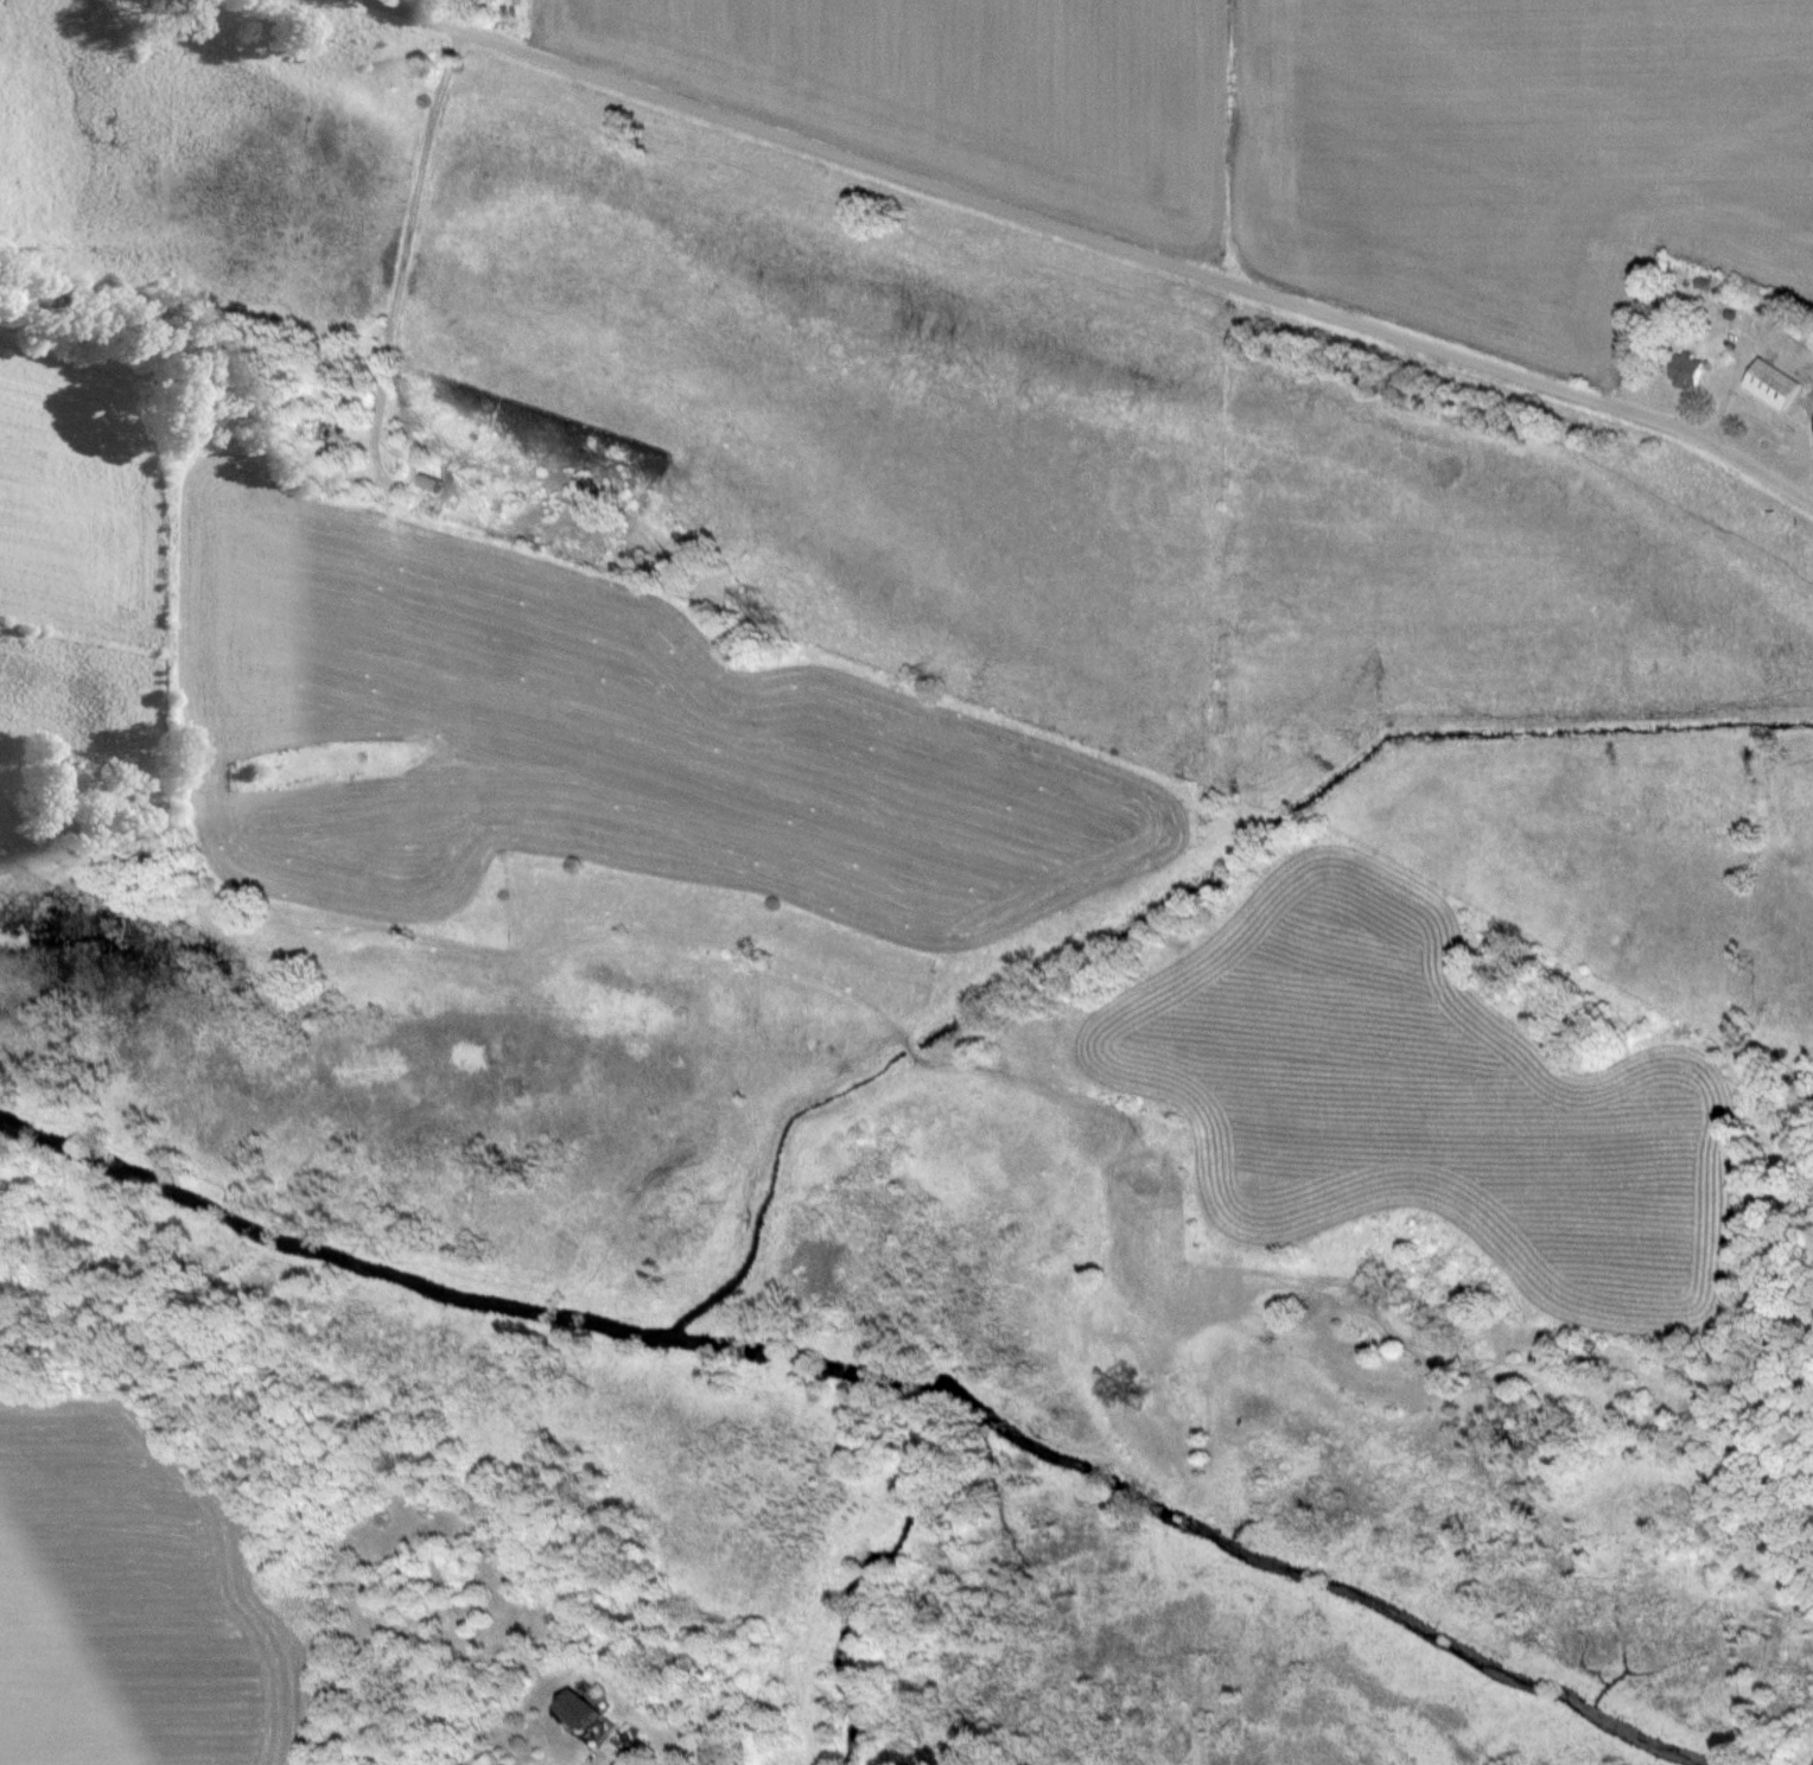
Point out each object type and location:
road: (407, 231)
road: (1096, 240)
building: (1681, 371)
building: (1766, 384)
building: (583, 1709)
road: (535, 1763)

